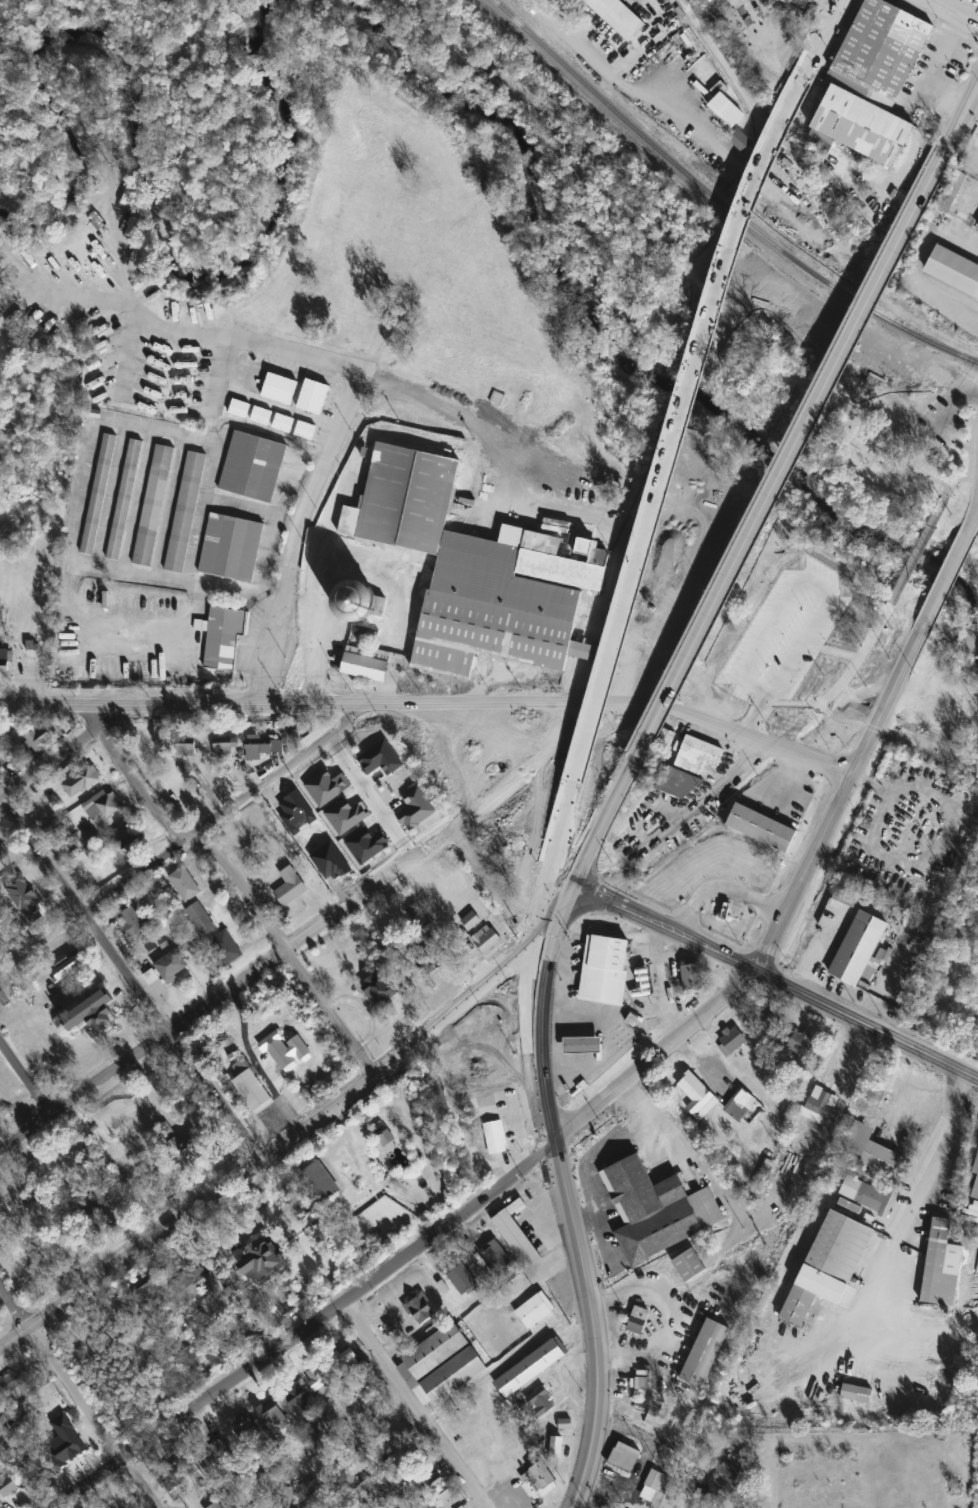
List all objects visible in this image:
building: (711, 0)
building: (786, 1)
building: (731, 4)
road: (959, 9)
road: (977, 15)
building: (617, 17)
road: (828, 31)
parking lot: (938, 69)
road: (628, 82)
building: (872, 84)
road: (739, 86)
building: (726, 110)
road: (962, 111)
building: (742, 141)
railway: (720, 202)
road: (906, 223)
railway: (726, 227)
building: (955, 270)
road: (690, 271)
road: (127, 351)
road: (218, 376)
road: (352, 377)
building: (279, 389)
road: (977, 396)
building: (313, 397)
road: (952, 407)
building: (239, 409)
parking lot: (945, 415)
building: (261, 416)
road: (688, 418)
building: (283, 423)
park: (894, 425)
building: (304, 431)
park: (859, 438)
park: (879, 465)
building: (253, 466)
road: (947, 492)
building: (408, 494)
building: (98, 495)
building: (125, 500)
building: (153, 506)
building: (186, 513)
road: (974, 520)
road: (749, 528)
building: (230, 548)
road: (917, 552)
road: (948, 579)
building: (354, 598)
building: (654, 604)
building: (493, 609)
road: (320, 628)
building: (222, 636)
building: (5, 664)
building: (365, 665)
parking lot: (855, 670)
road: (842, 684)
building: (737, 685)
road: (434, 701)
road: (891, 702)
road: (91, 717)
road: (898, 738)
building: (39, 741)
building: (262, 748)
building: (188, 750)
building: (226, 750)
road: (47, 761)
building: (690, 768)
building: (82, 781)
road: (369, 797)
building: (103, 805)
road: (697, 806)
road: (227, 812)
road: (600, 825)
building: (762, 827)
road: (562, 834)
road: (434, 842)
building: (129, 846)
building: (3, 854)
road: (808, 875)
building: (185, 884)
road: (242, 887)
building: (290, 888)
road: (724, 889)
building: (505, 894)
road: (467, 902)
road: (347, 905)
building: (417, 917)
building: (470, 918)
building: (202, 919)
building: (132, 921)
building: (486, 937)
traffic signals: (542, 942)
building: (855, 944)
road: (814, 947)
building: (226, 948)
building: (424, 958)
building: (172, 966)
building: (68, 967)
building: (607, 970)
road: (127, 976)
road: (769, 976)
building: (694, 977)
road: (662, 983)
building: (380, 989)
road: (225, 991)
road: (512, 1000)
building: (95, 1011)
building: (766, 1021)
building: (494, 1028)
building: (732, 1040)
building: (801, 1043)
building: (585, 1045)
gas station: (585, 1045)
road: (109, 1072)
road: (25, 1075)
building: (881, 1083)
building: (250, 1087)
building: (697, 1097)
building: (739, 1104)
building: (820, 1108)
road: (25, 1128)
building: (494, 1134)
road: (271, 1144)
railway: (797, 1147)
building: (871, 1148)
building: (190, 1149)
road: (594, 1149)
road: (931, 1159)
building: (975, 1162)
building: (318, 1183)
building: (867, 1194)
road: (564, 1198)
building: (656, 1211)
building: (516, 1231)
road: (410, 1246)
building: (497, 1258)
building: (262, 1259)
building: (690, 1264)
building: (27, 1266)
building: (826, 1266)
building: (939, 1266)
building: (462, 1280)
road: (665, 1306)
building: (534, 1308)
building: (420, 1309)
building: (637, 1317)
building: (704, 1351)
building: (350, 1361)
building: (530, 1364)
building: (443, 1365)
road: (61, 1373)
building: (640, 1378)
building: (13, 1383)
building: (854, 1392)
building: (300, 1398)
building: (539, 1399)
road: (412, 1403)
building: (659, 1418)
building: (274, 1420)
building: (564, 1421)
building: (247, 1432)
building: (66, 1439)
building: (555, 1444)
building: (623, 1454)
building: (221, 1463)
road: (362, 1464)
building: (536, 1472)
building: (731, 1474)
building: (171, 1476)
road: (139, 1483)
building: (652, 1483)
building: (7, 1485)
building: (379, 1488)
building: (108, 1504)
building: (217, 1505)

